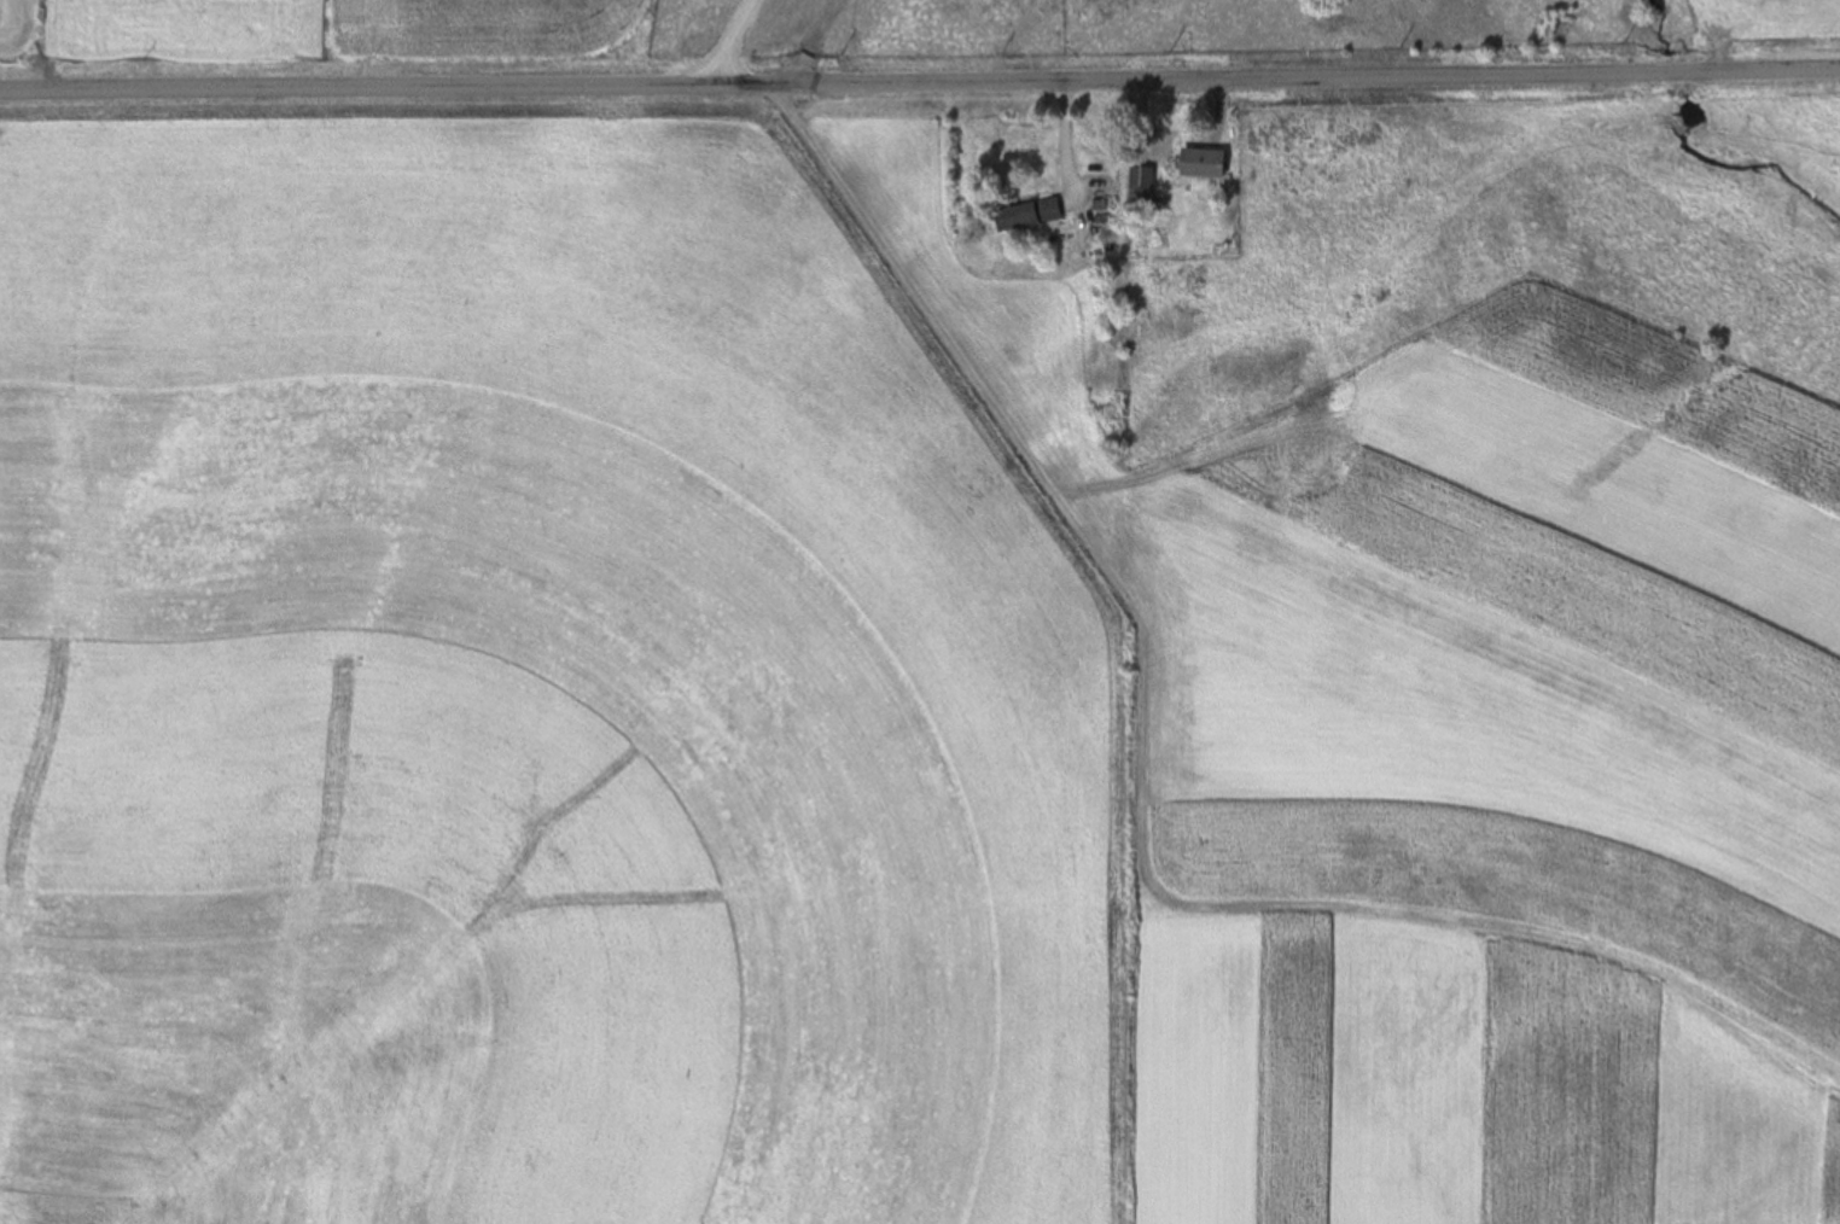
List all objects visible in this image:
road: (835, 41)
road: (920, 81)
building: (1203, 164)
building: (1141, 192)
building: (1029, 215)

